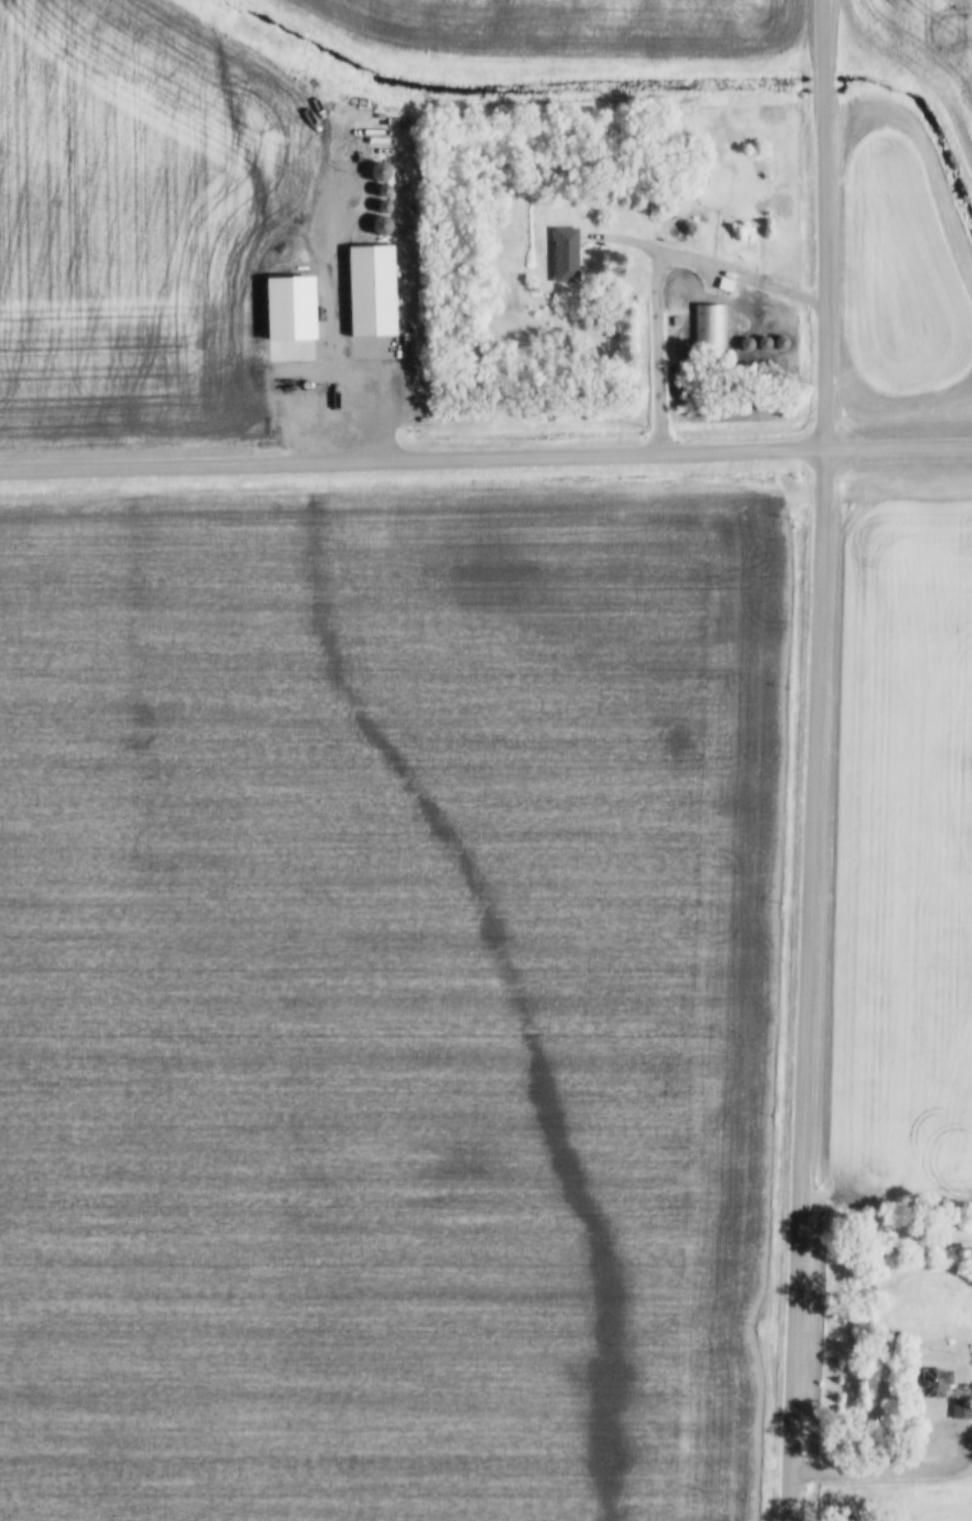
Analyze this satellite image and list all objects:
crop: (578, 25)
crop: (924, 46)
road: (821, 224)
crop: (152, 231)
building: (565, 253)
road: (658, 274)
crop: (898, 275)
building: (370, 289)
building: (709, 325)
road: (376, 404)
road: (486, 458)
crop: (904, 862)
road: (807, 985)
crop: (388, 1001)
building: (930, 1383)
road: (925, 1435)
road: (934, 1469)
road: (841, 1473)

